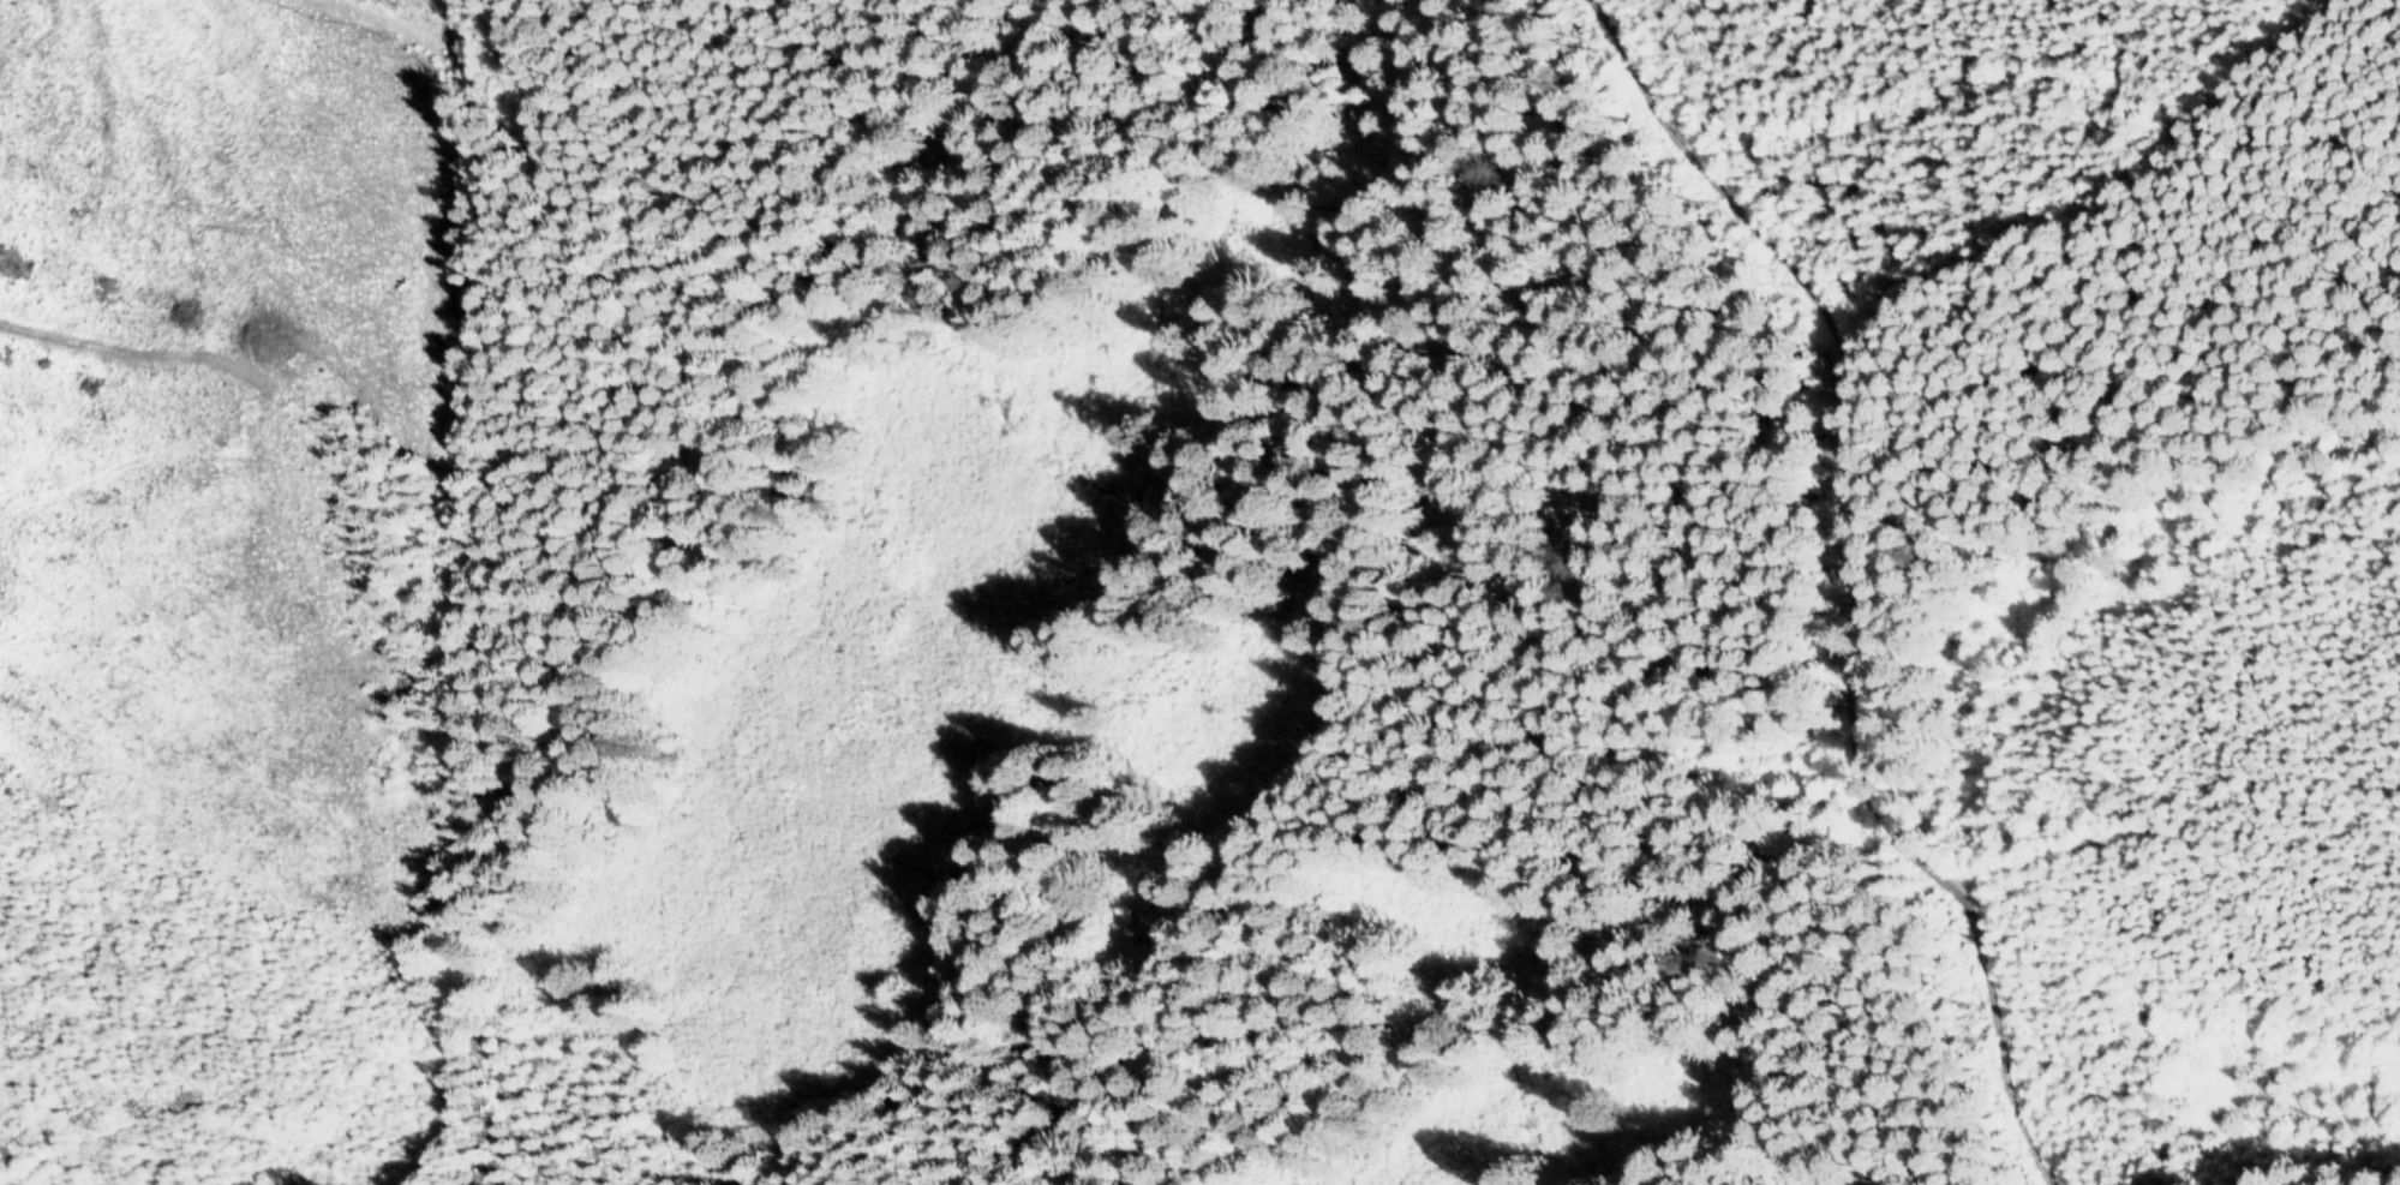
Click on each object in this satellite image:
road: (375, 13)
road: (120, 346)
road: (1856, 574)
road: (94, 1139)

